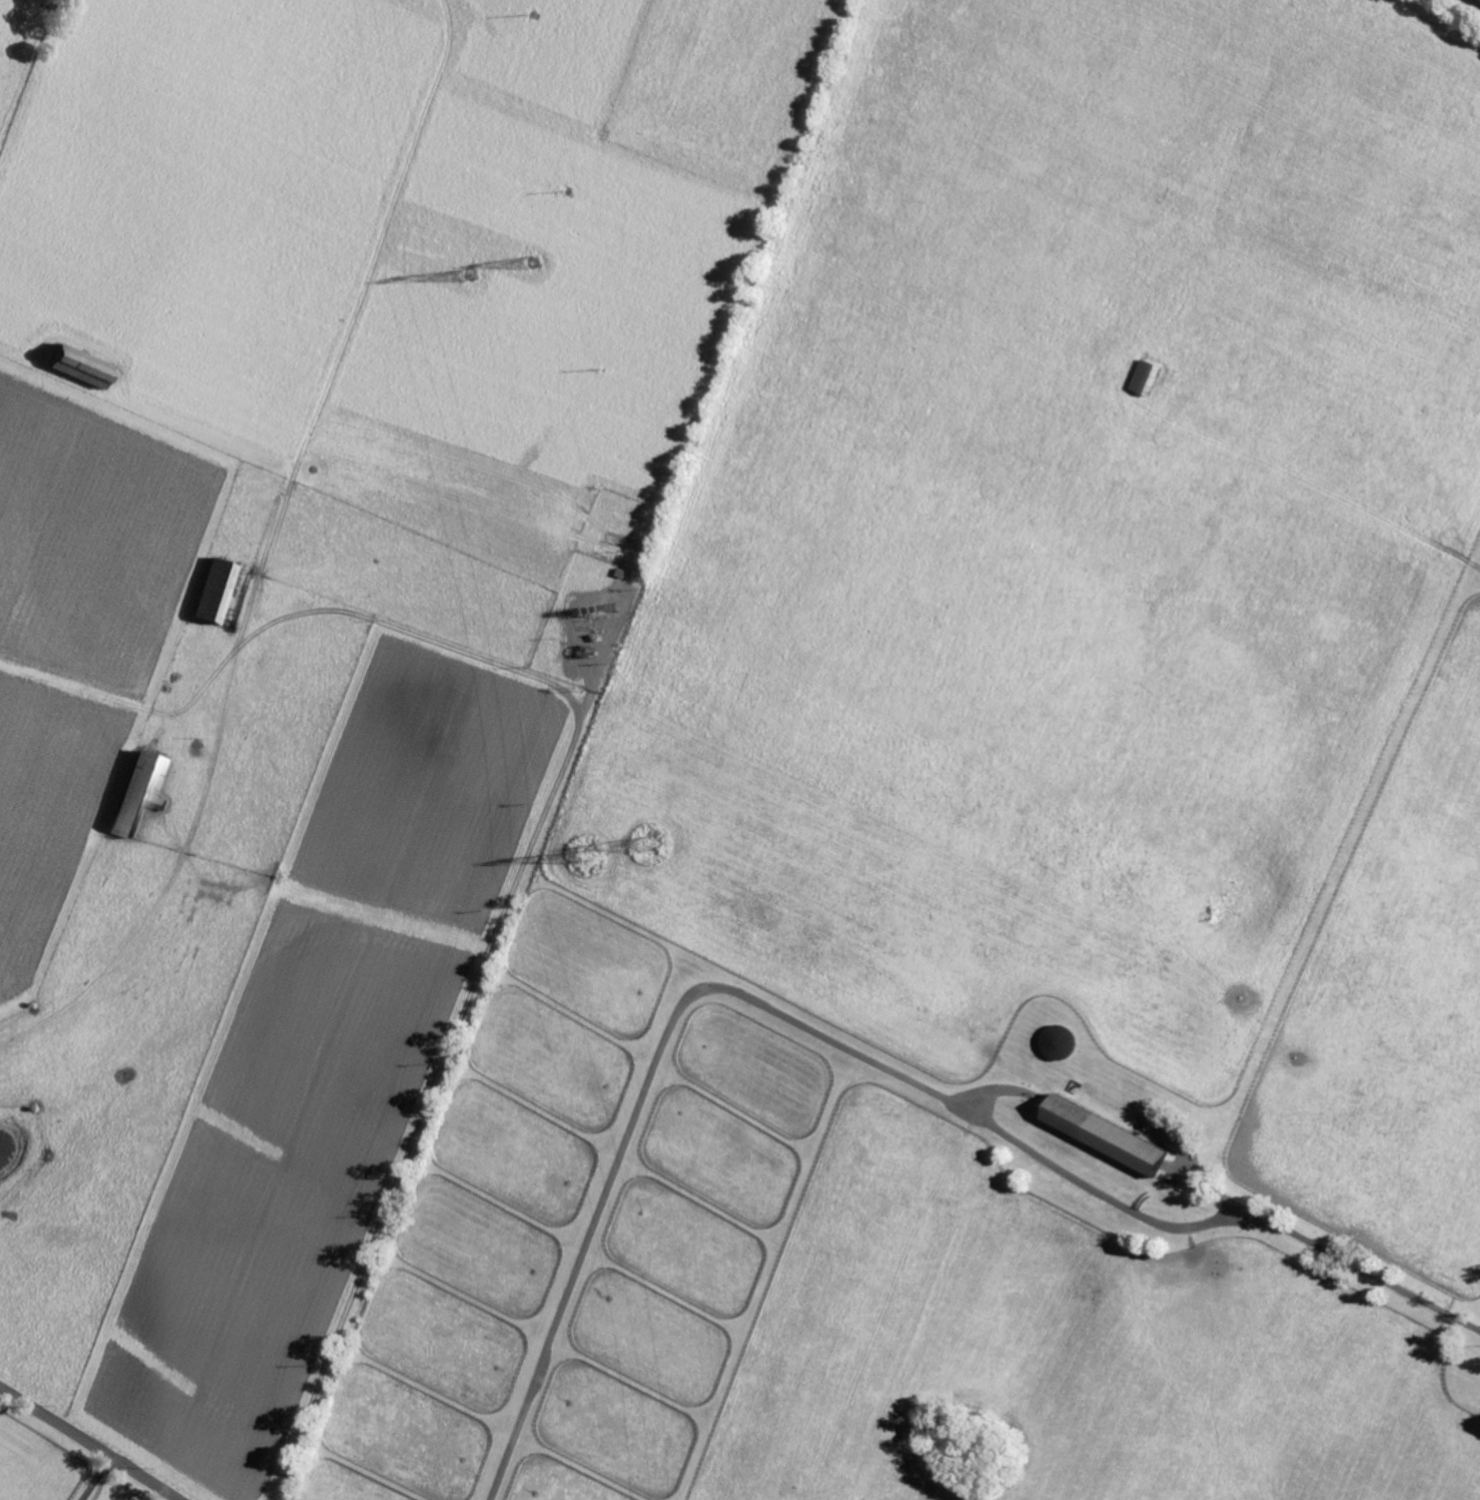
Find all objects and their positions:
power tower: (546, 263)
power tower: (478, 272)
building: (86, 367)
building: (219, 591)
building: (143, 794)
power tower: (652, 845)
power tower: (593, 863)
road: (510, 892)
road: (839, 1046)
building: (1113, 1133)
road: (92, 1441)
road: (96, 1476)

